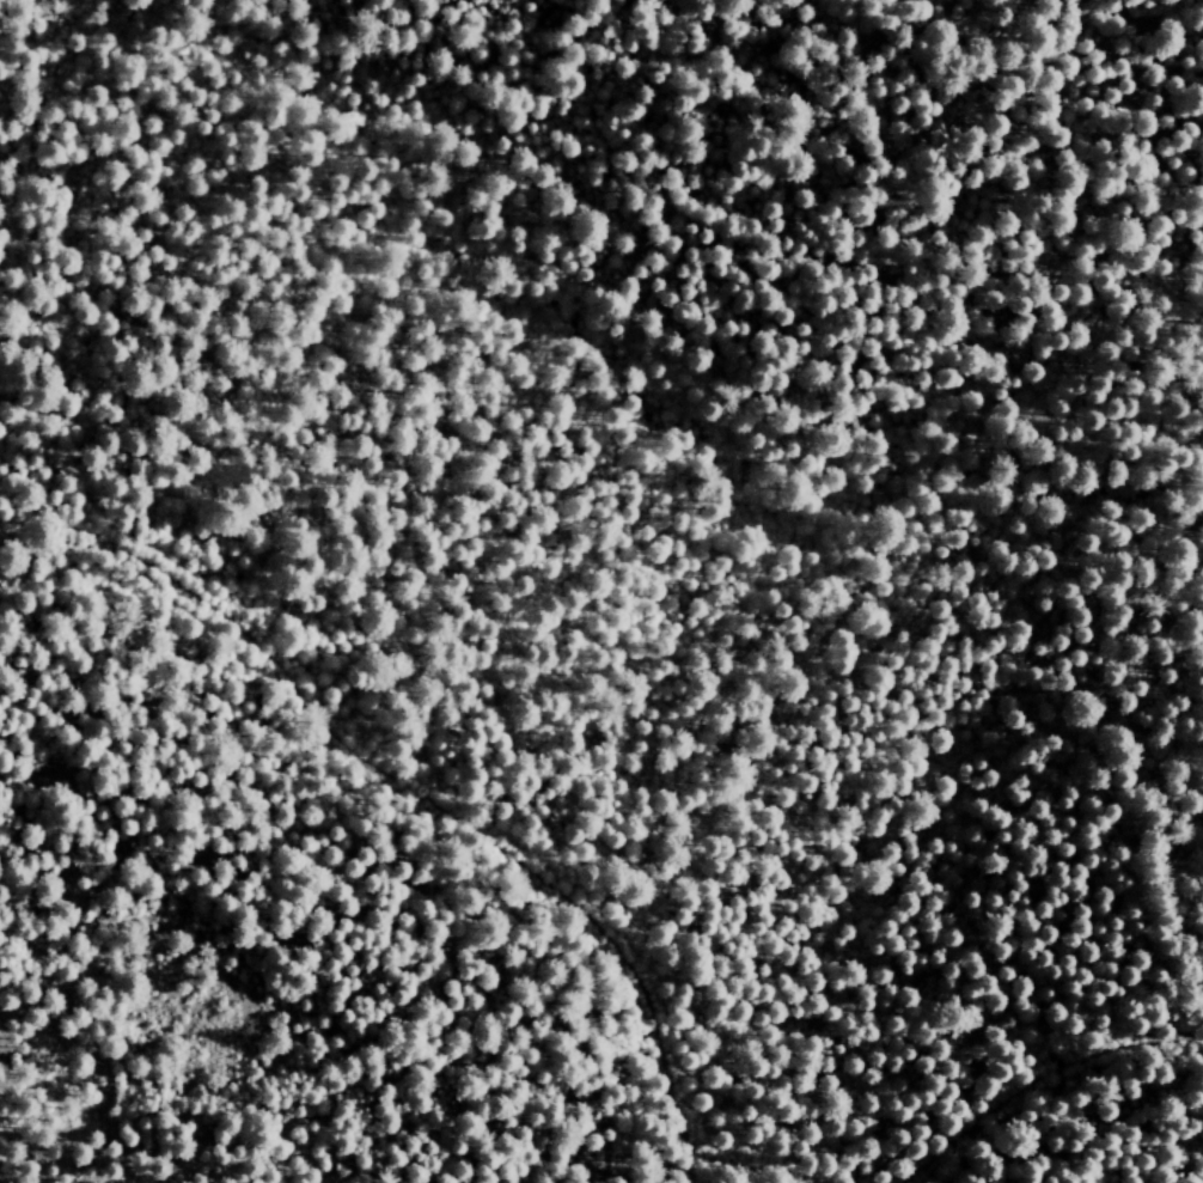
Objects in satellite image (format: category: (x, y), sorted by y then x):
road: (1123, 24)
road: (41, 525)
road: (477, 830)
road: (1034, 1080)

